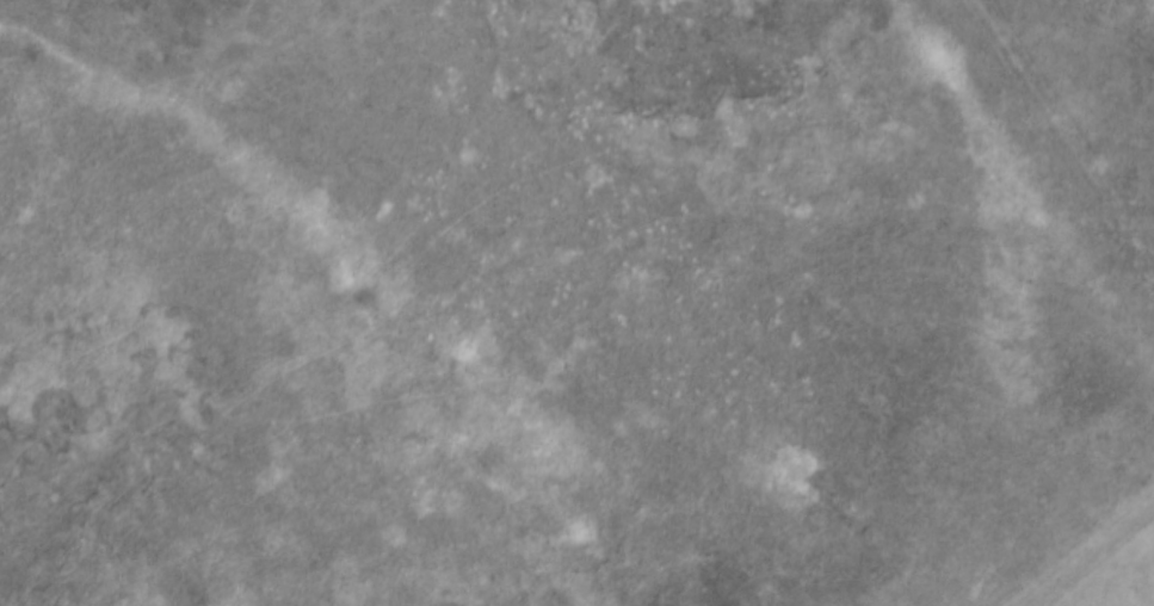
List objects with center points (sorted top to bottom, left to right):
road: (1096, 556)

